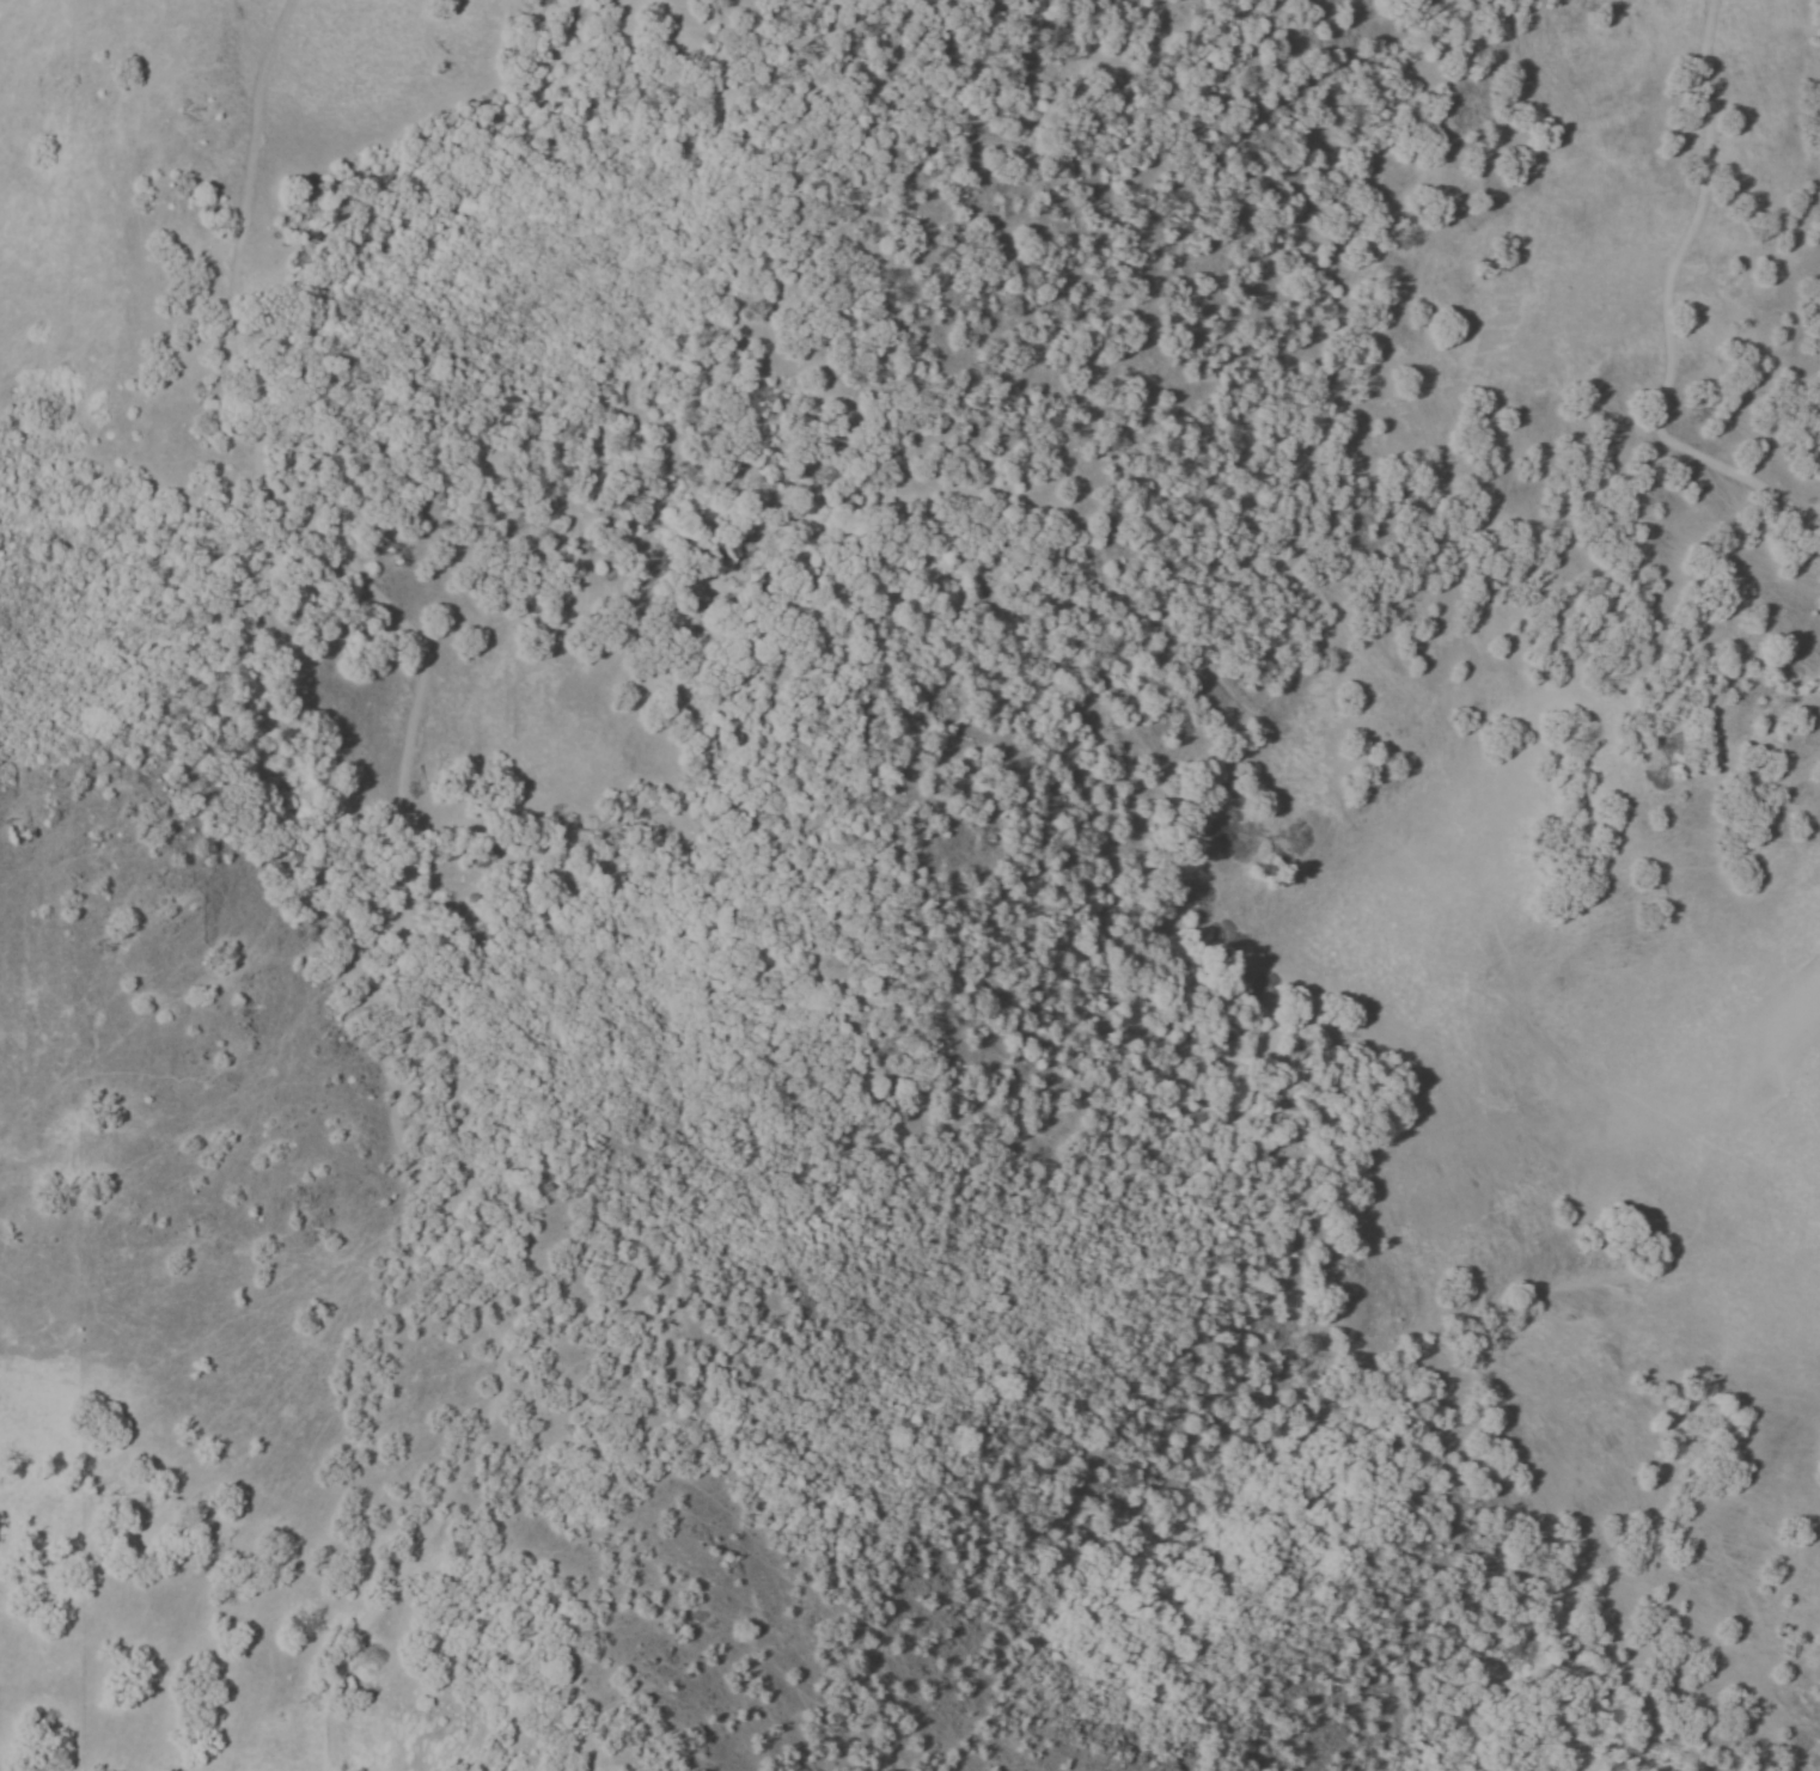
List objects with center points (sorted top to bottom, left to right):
road: (1665, 307)
road: (409, 871)

